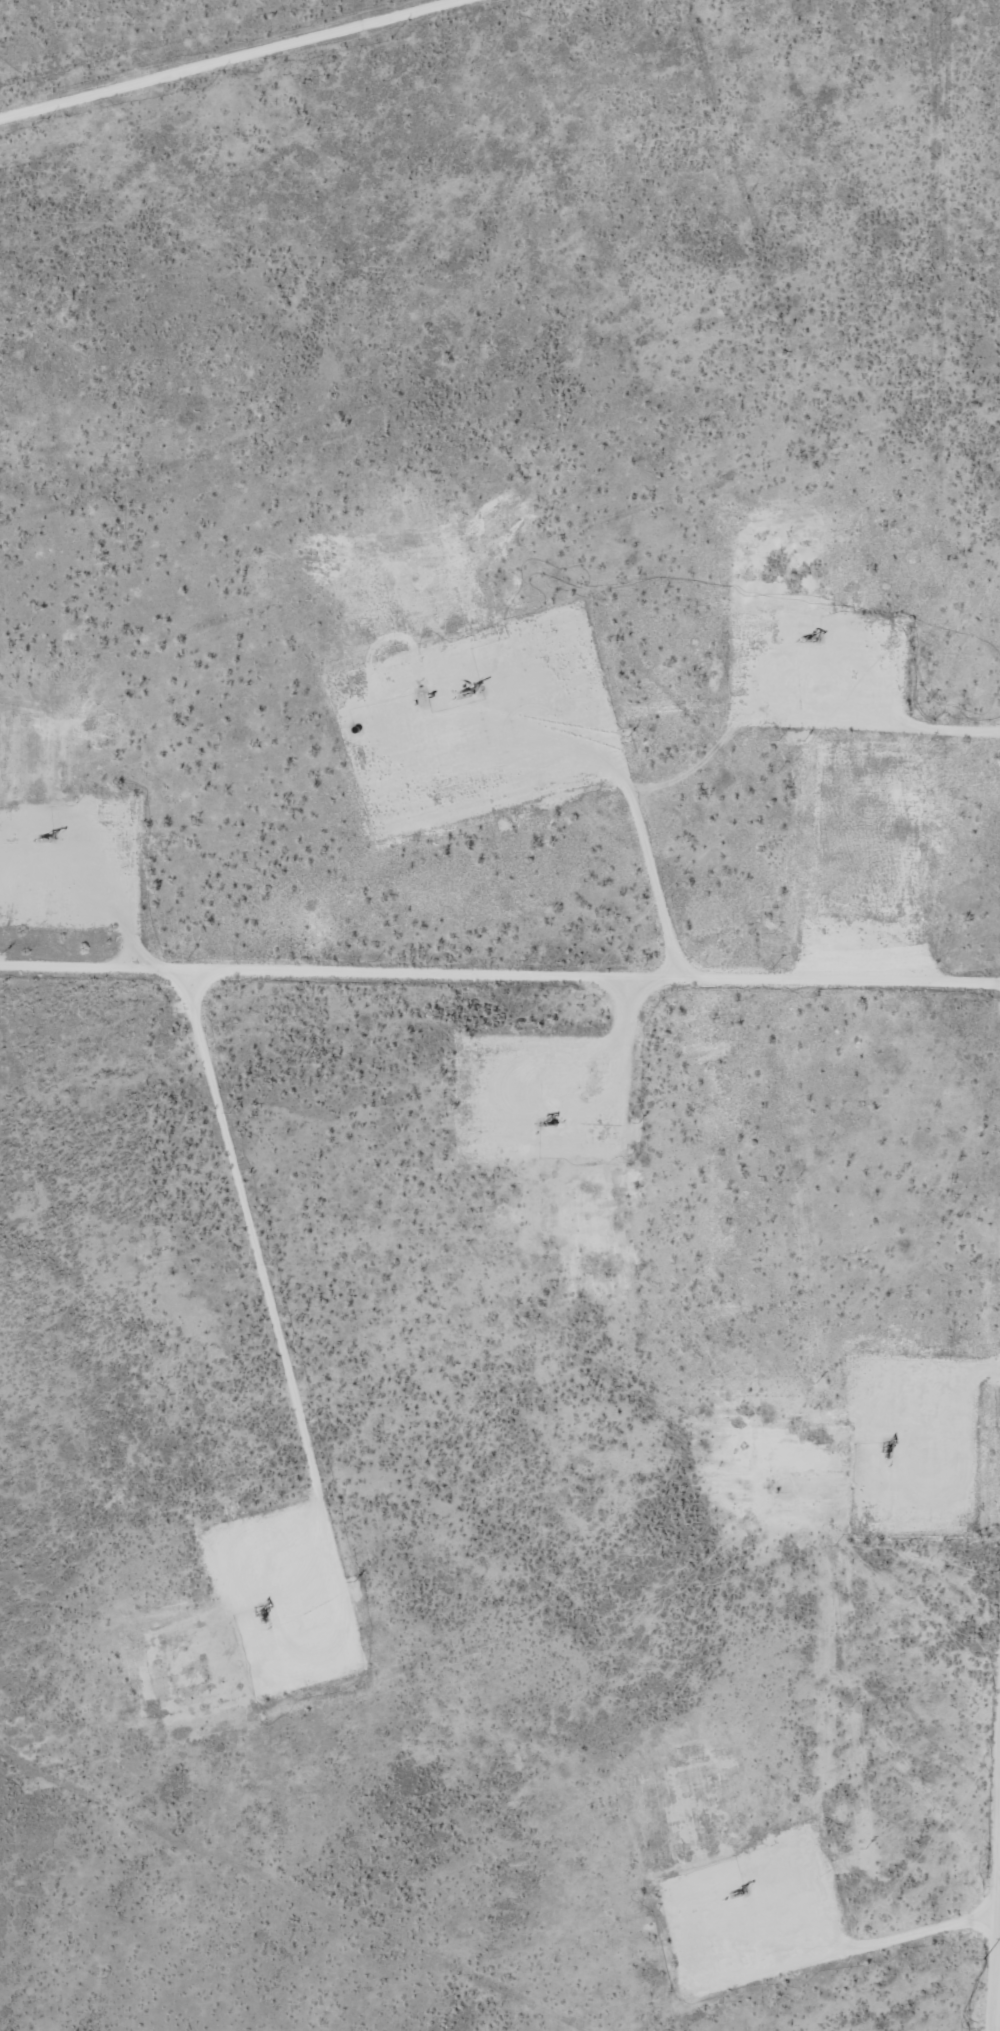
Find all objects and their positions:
power tower: (998, 1570)
road: (997, 1952)
power tower: (984, 1959)

